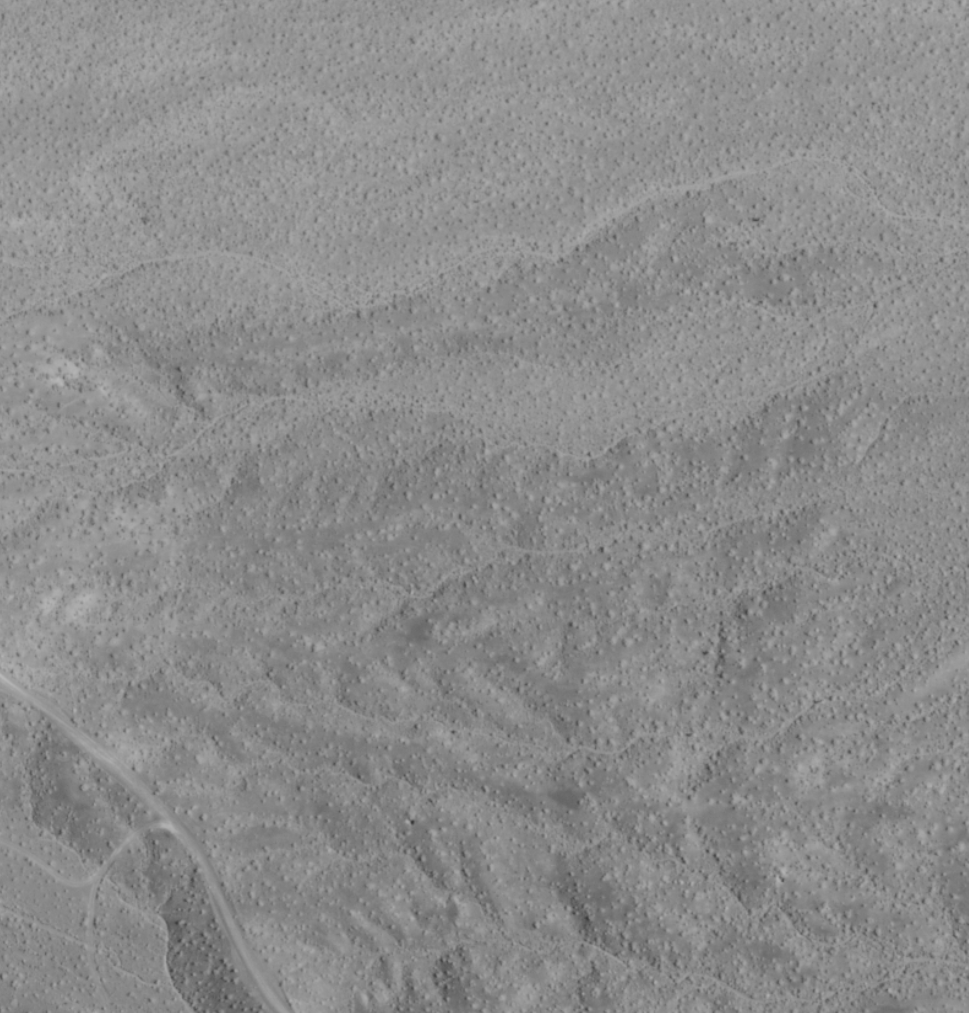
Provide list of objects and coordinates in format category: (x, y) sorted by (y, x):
road: (175, 817)

